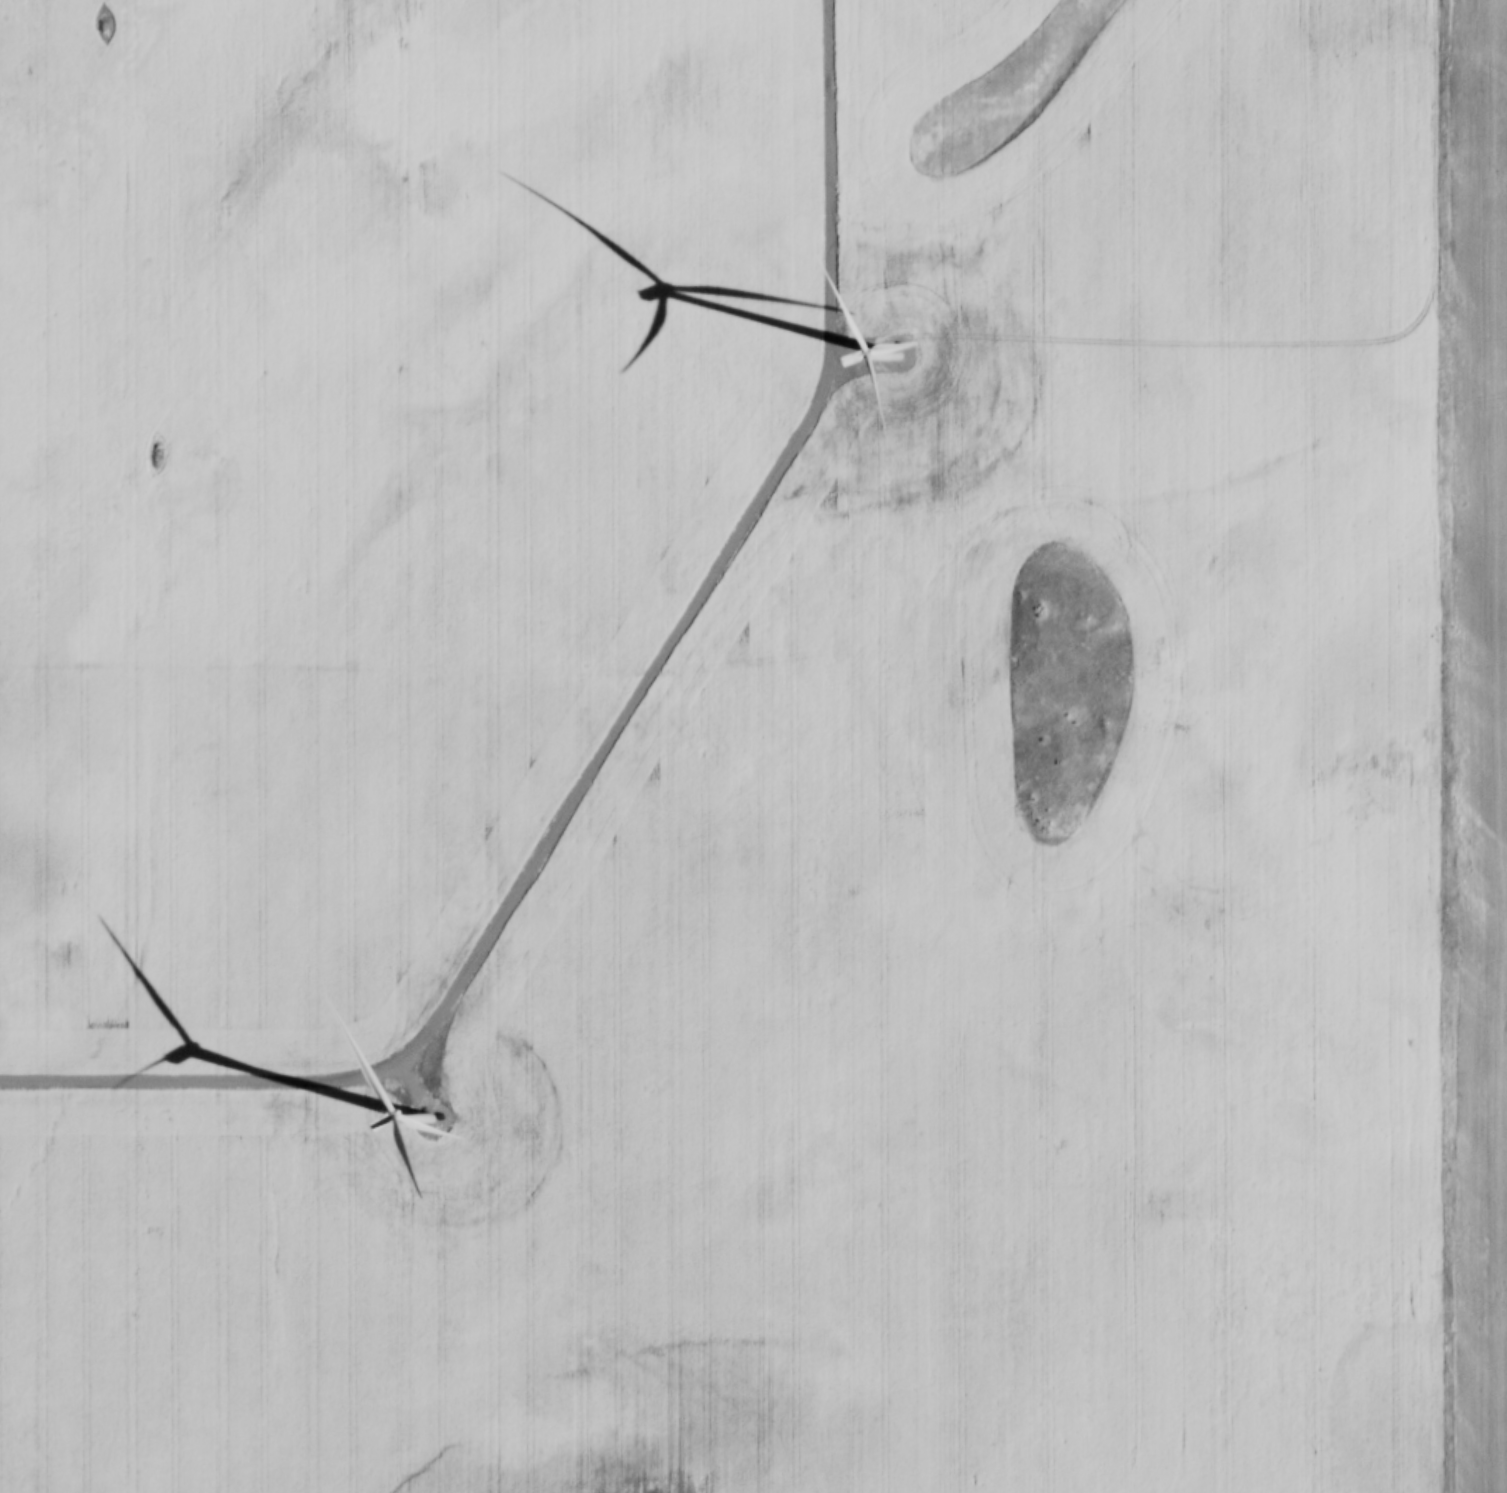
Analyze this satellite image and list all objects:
wind turbine: (889, 349)
wind turbine: (433, 1118)

